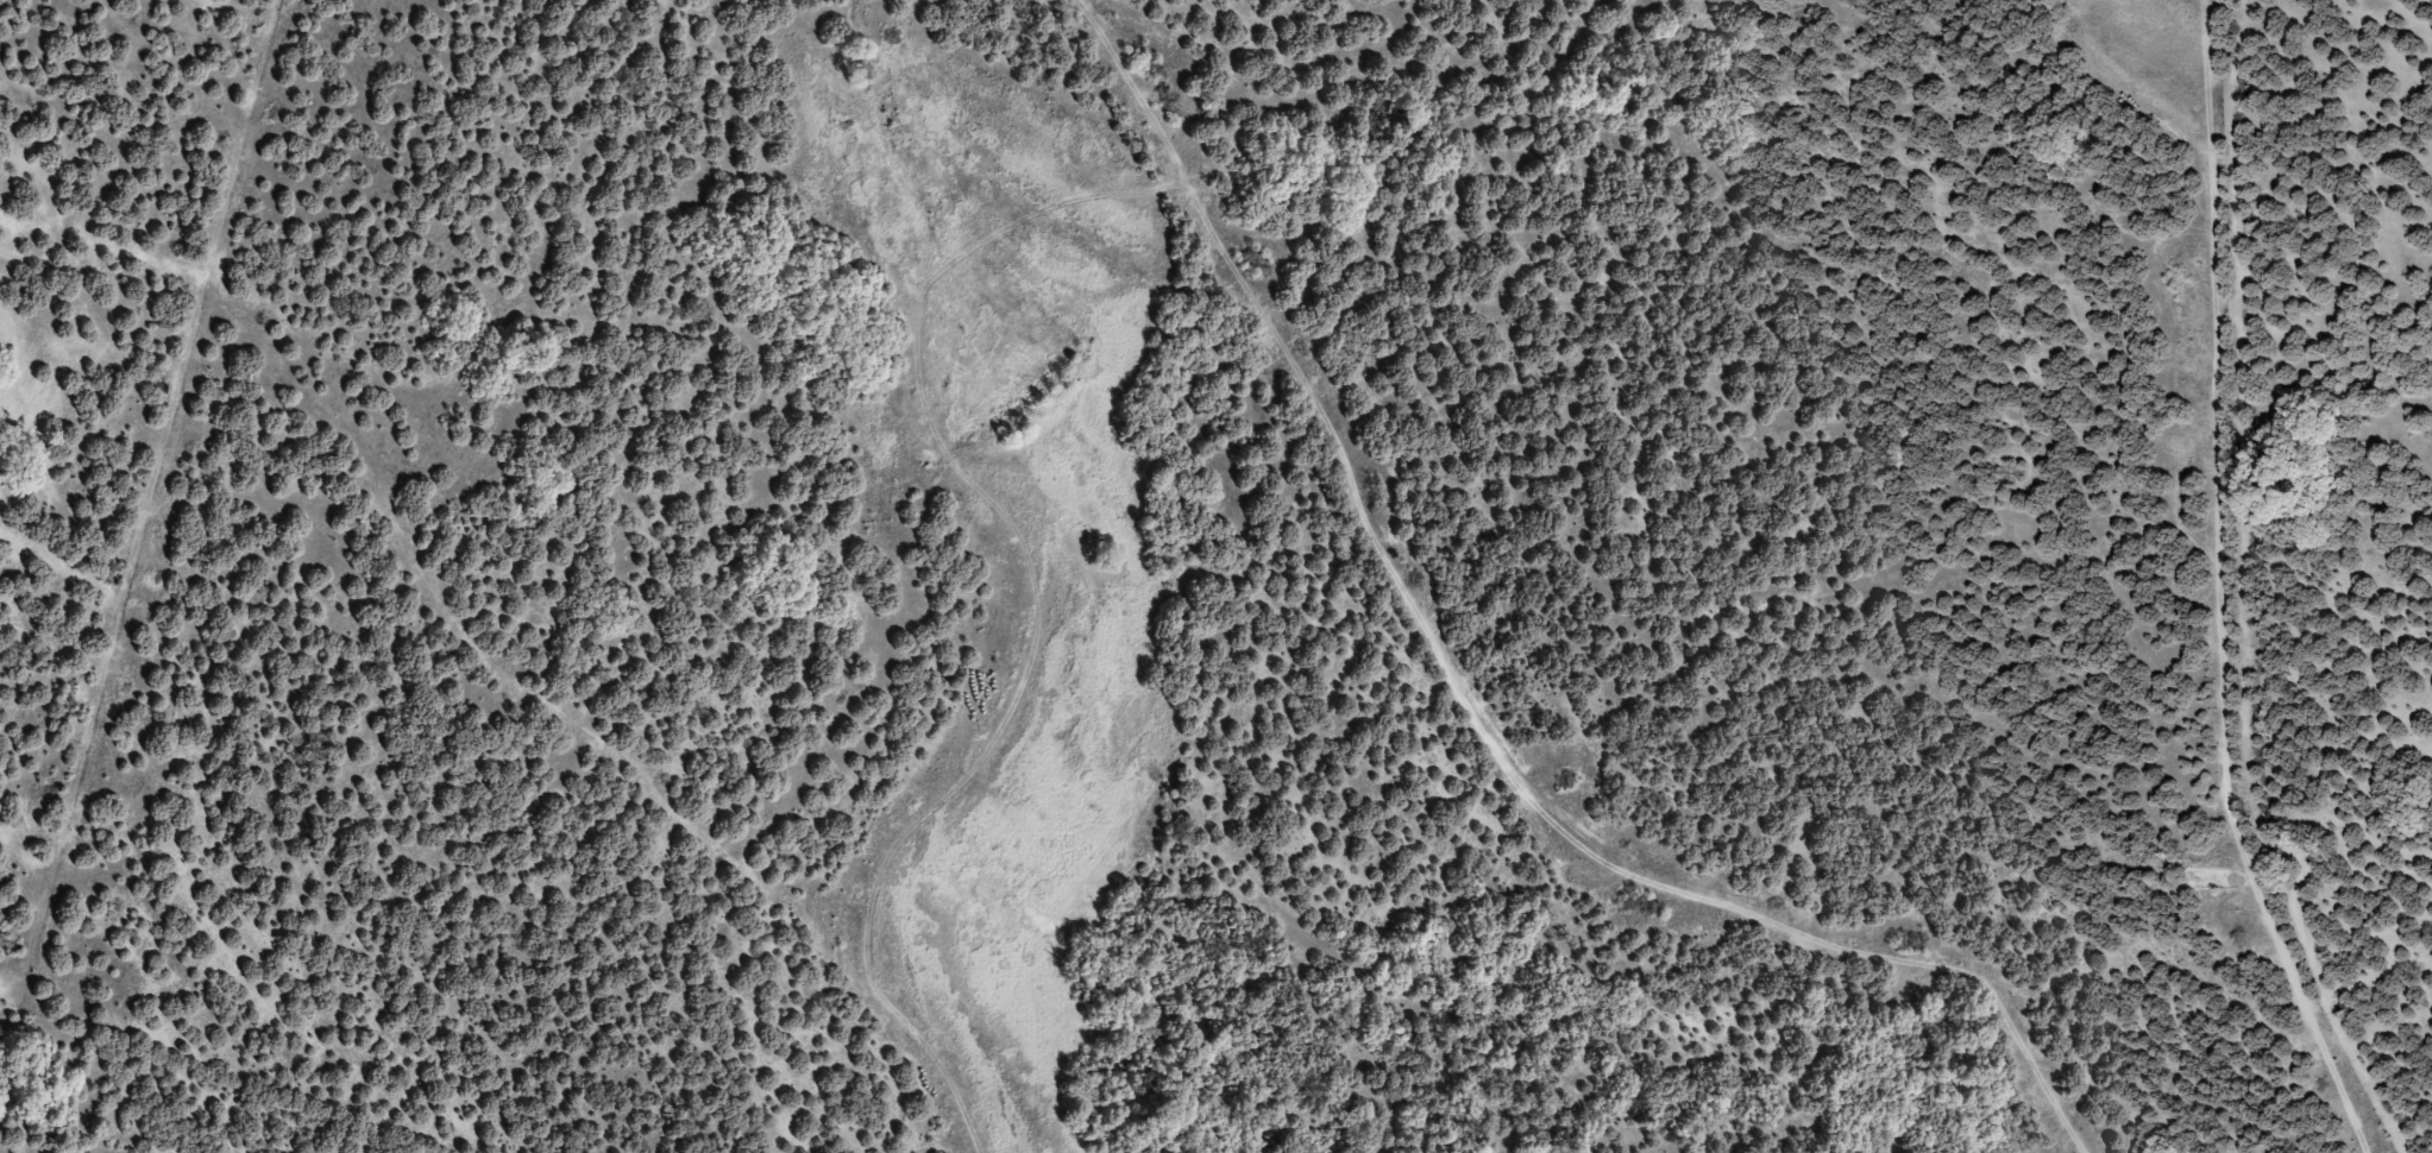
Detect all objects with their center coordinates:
road: (484, 632)

